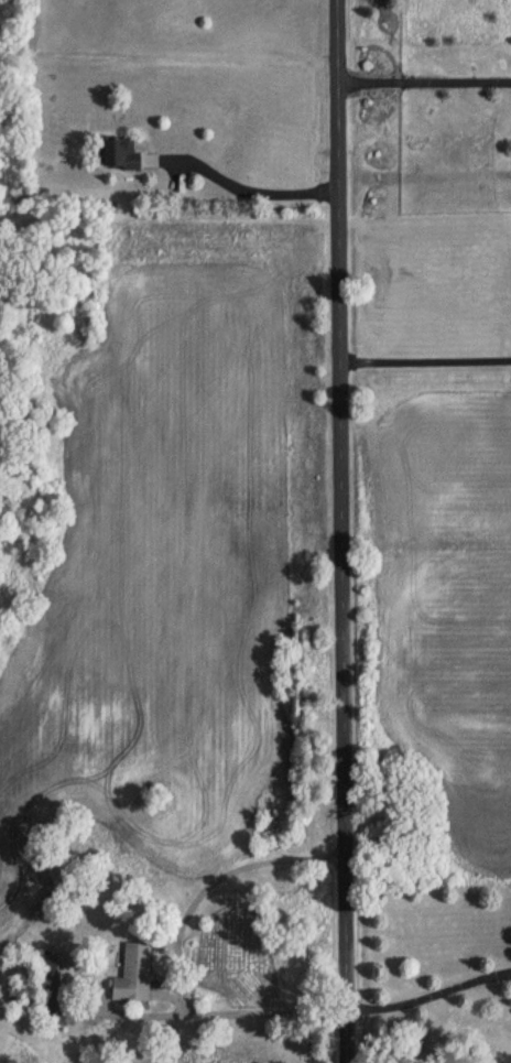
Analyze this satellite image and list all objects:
road: (424, 70)
building: (126, 154)
road: (246, 182)
road: (426, 356)
road: (344, 531)
road: (211, 881)
building: (134, 975)
building: (61, 989)
road: (430, 994)
road: (199, 1010)

